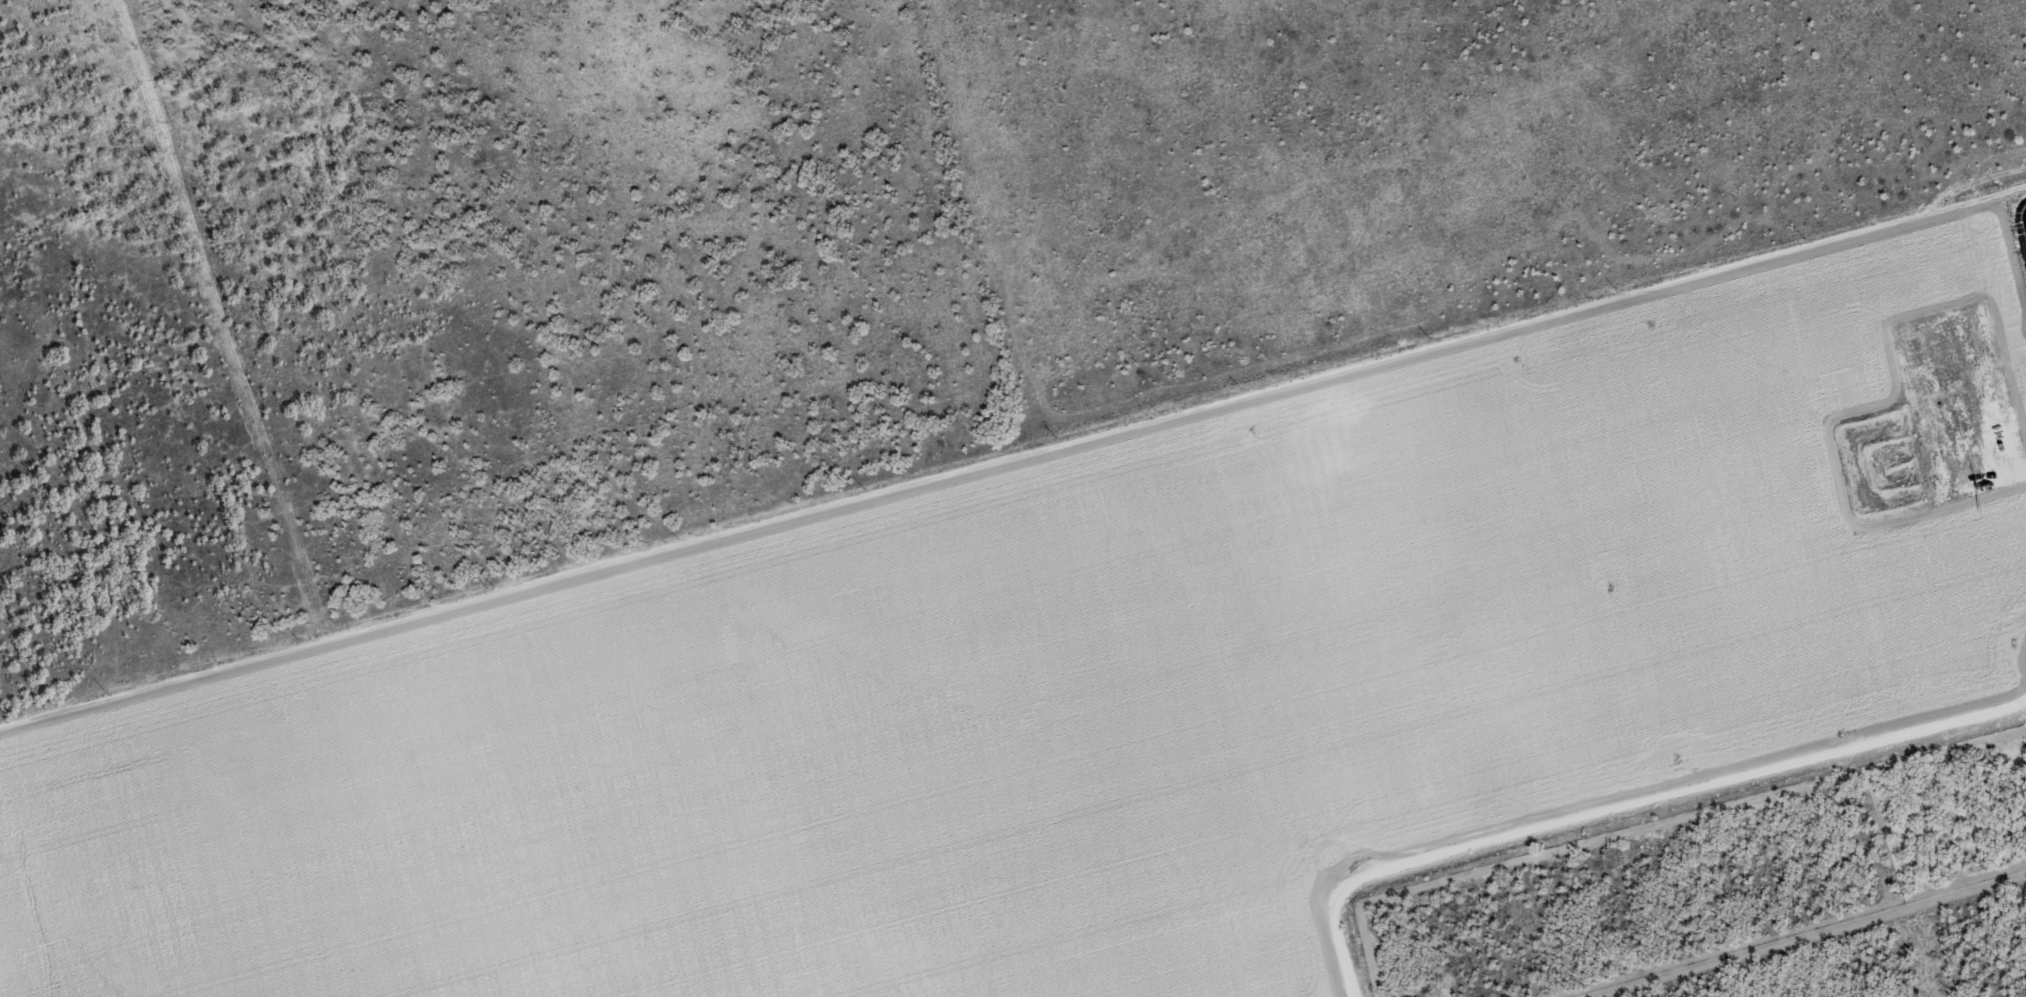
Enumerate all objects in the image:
road: (1013, 453)

